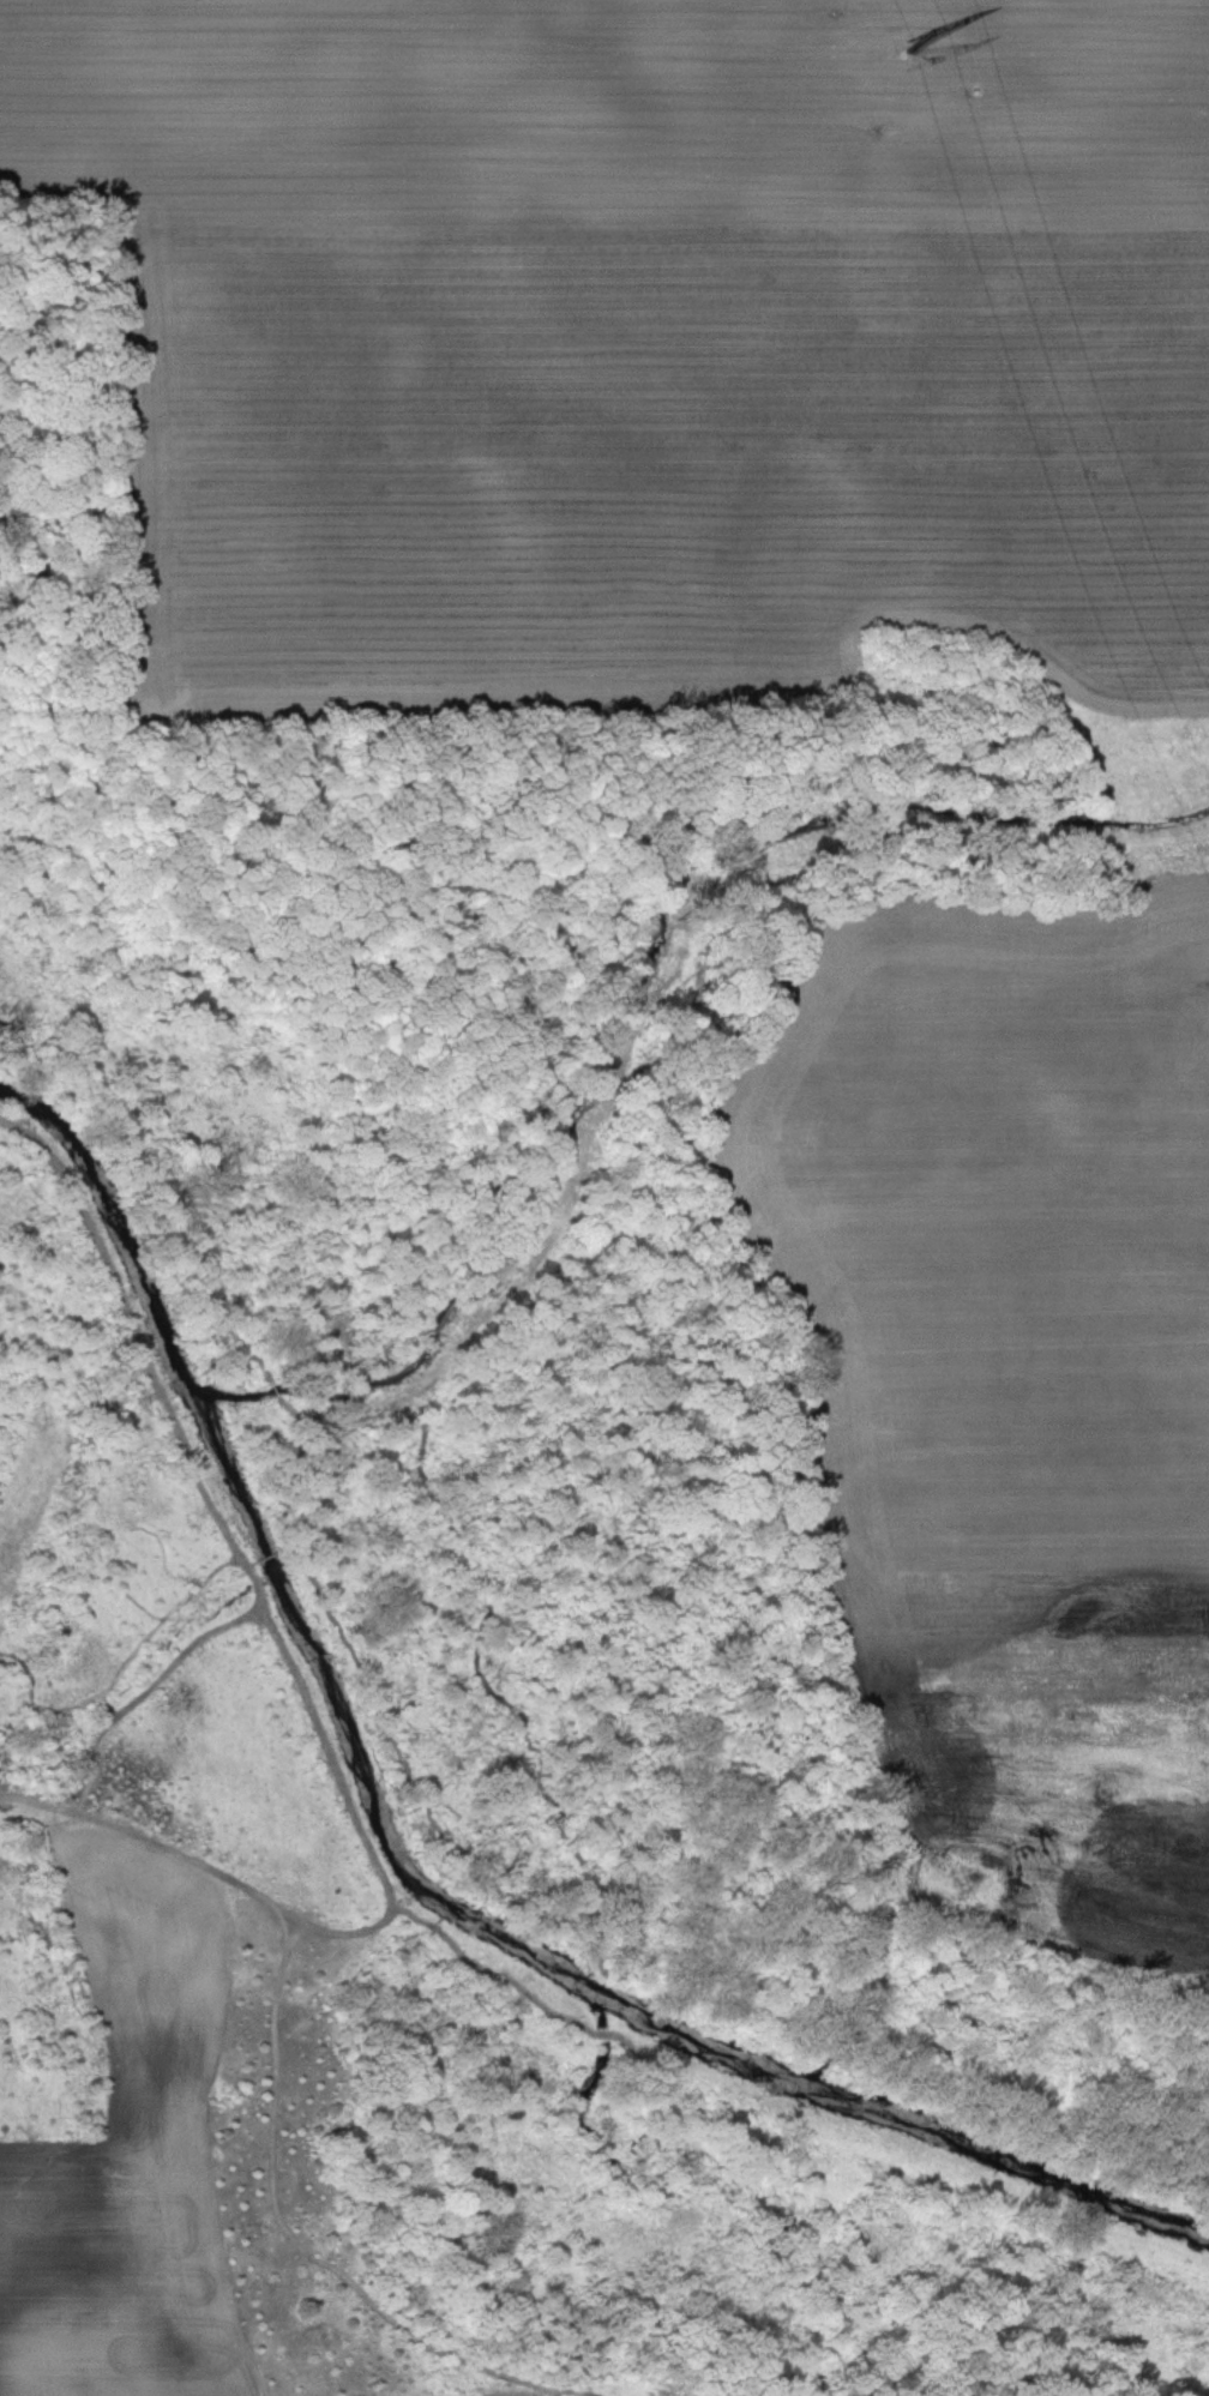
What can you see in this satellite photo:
power tower: (892, 53)

